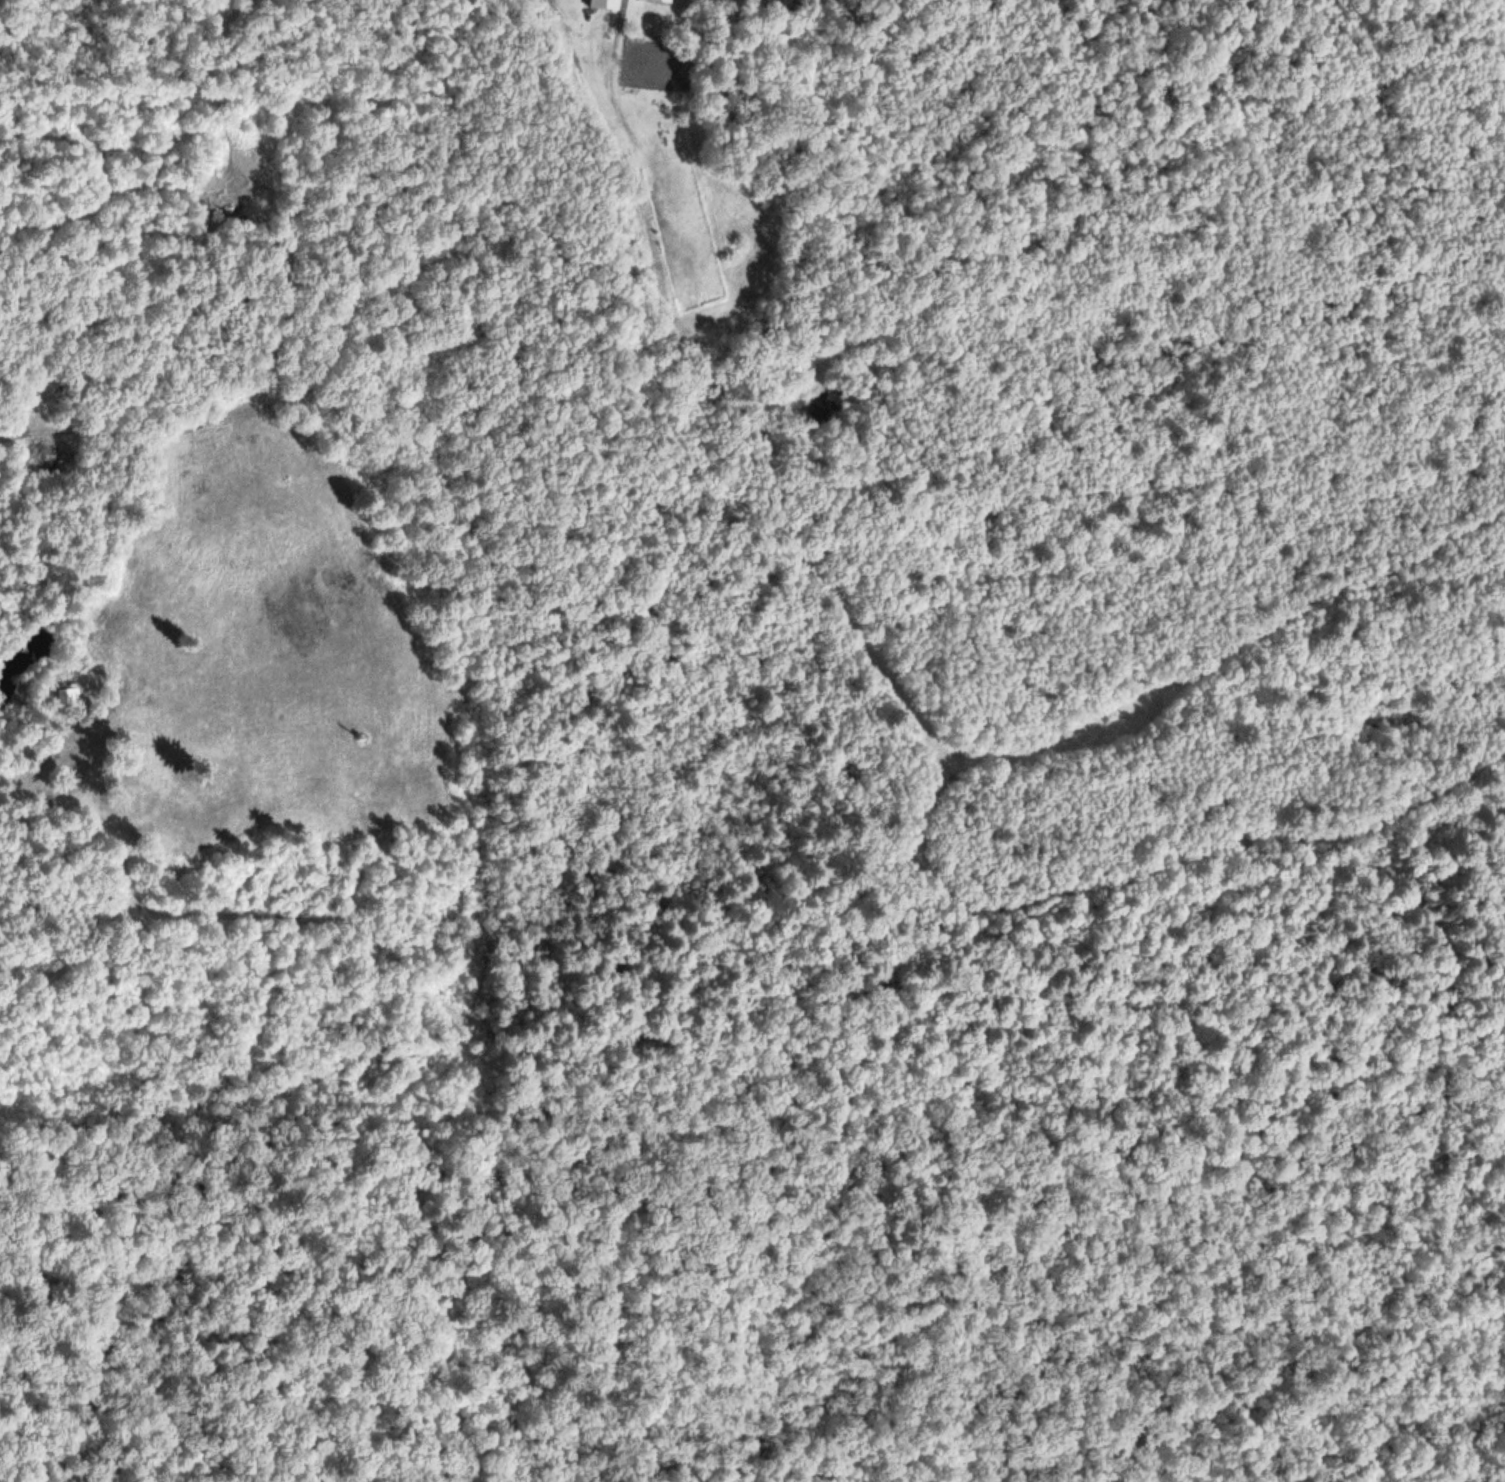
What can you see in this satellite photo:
building: (661, 1)
building: (603, 4)
building: (64, 697)

